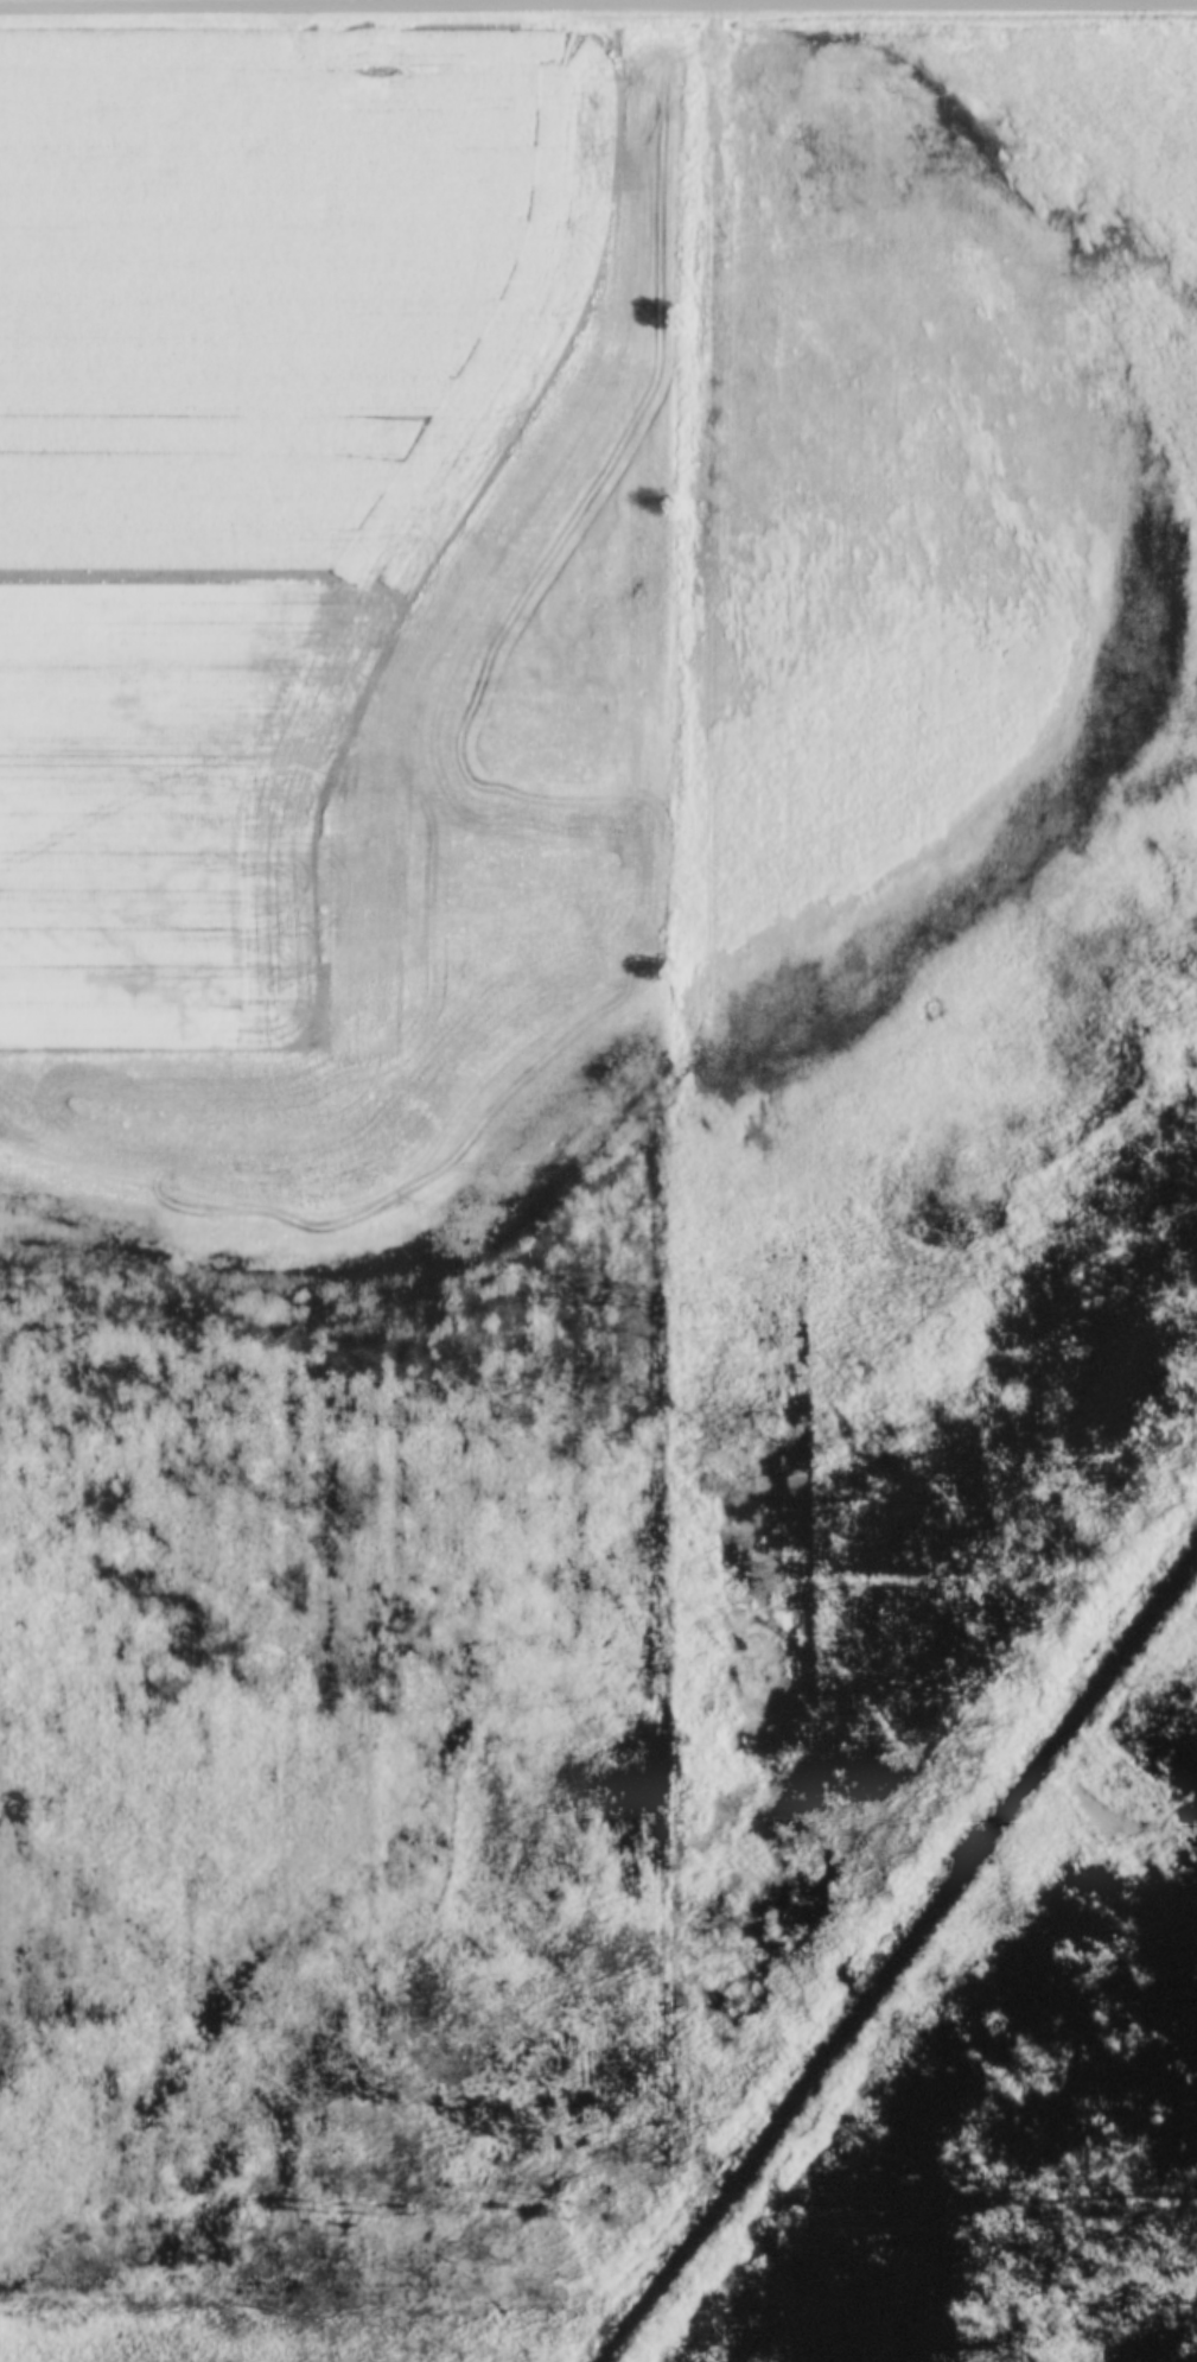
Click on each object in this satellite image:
road: (598, 2)
crop: (333, 634)
power tower: (564, 2211)

